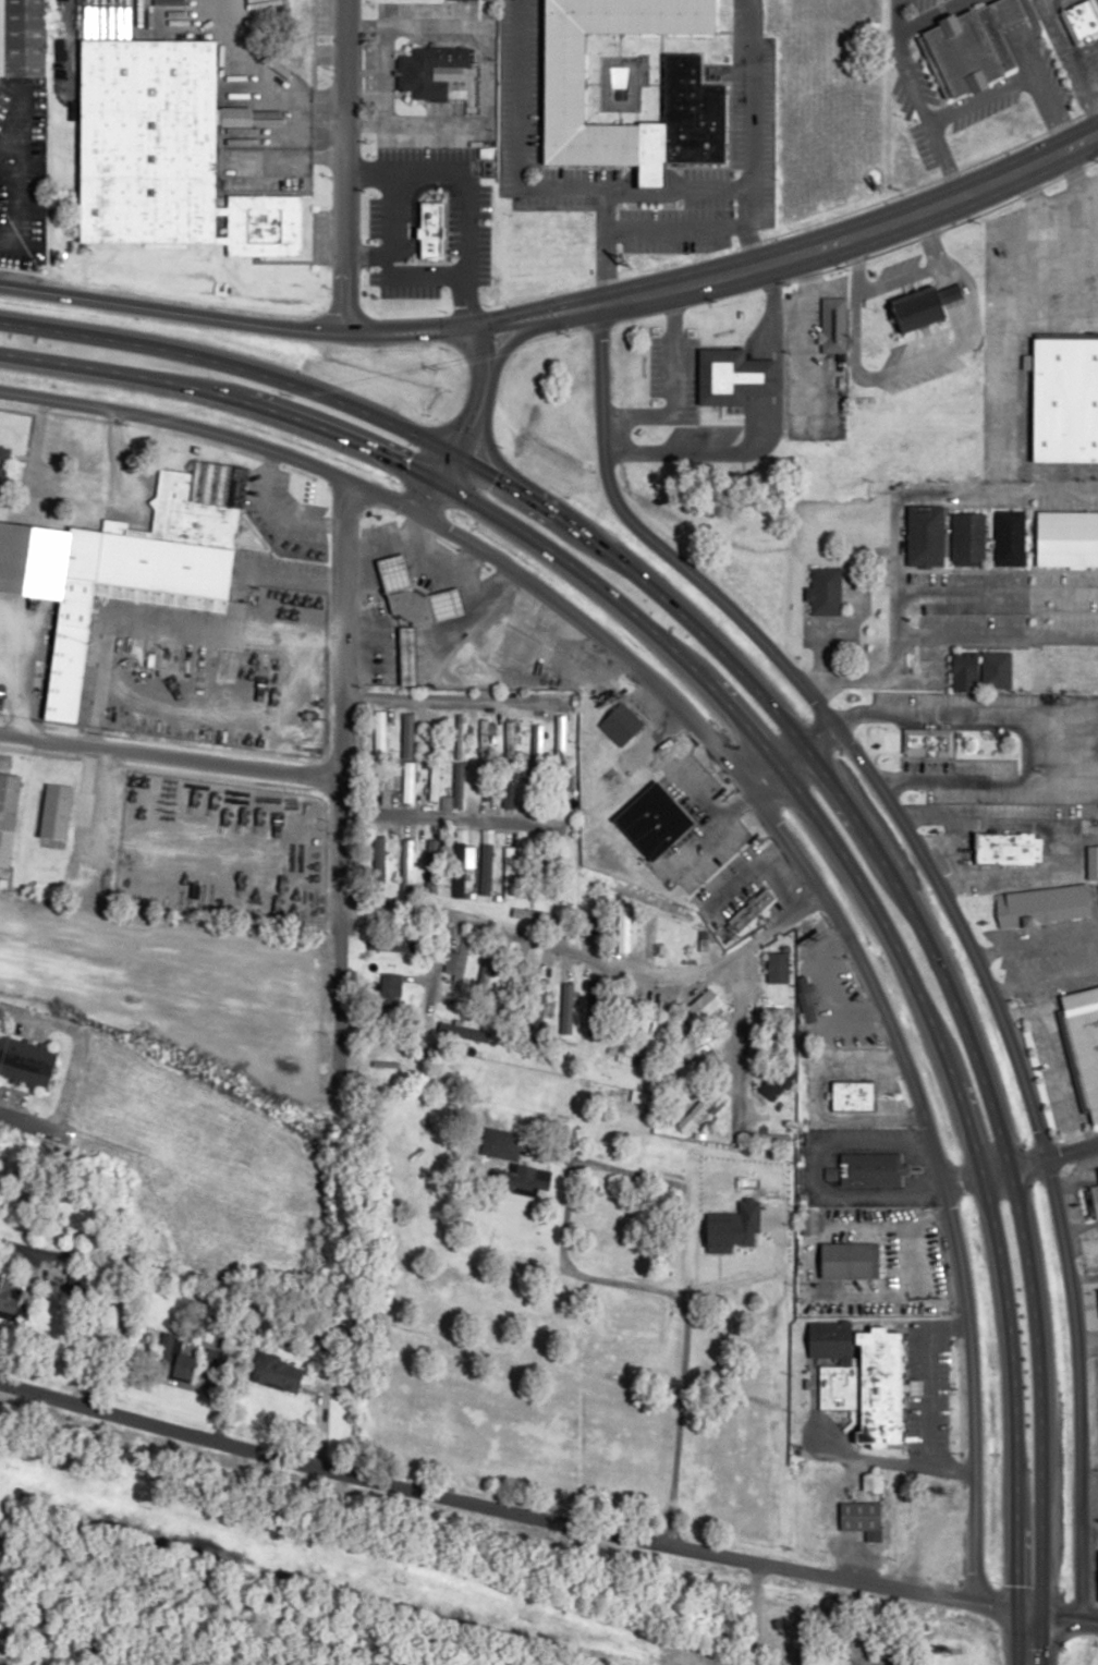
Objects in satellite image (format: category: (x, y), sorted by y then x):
road: (1097, 1)
parking lot: (923, 4)
building: (1079, 20)
building: (25, 38)
building: (972, 47)
parking lot: (1056, 49)
parking lot: (1090, 53)
road: (1071, 57)
building: (428, 70)
road: (1033, 71)
parking lot: (919, 72)
parking lot: (1057, 75)
road: (749, 93)
road: (915, 97)
parking lot: (900, 98)
road: (980, 98)
building: (695, 104)
parking lot: (981, 111)
parking lot: (920, 145)
building: (166, 154)
road: (342, 165)
road: (931, 180)
road: (539, 186)
road: (456, 192)
road: (745, 226)
building: (431, 230)
road: (1012, 232)
road: (603, 245)
road: (797, 251)
building: (926, 306)
road: (239, 320)
building: (833, 325)
road: (522, 333)
road: (454, 338)
building: (733, 377)
building: (1065, 399)
road: (477, 406)
road: (434, 429)
traffic signals: (454, 454)
road: (505, 467)
building: (5, 472)
traffic signals: (439, 482)
road: (896, 487)
road: (429, 497)
building: (183, 535)
building: (926, 535)
building: (966, 537)
building: (1010, 537)
building: (826, 591)
building: (416, 595)
building: (71, 649)
building: (134, 651)
building: (407, 656)
building: (224, 665)
building: (996, 669)
building: (964, 671)
road: (448, 692)
road: (334, 693)
building: (624, 718)
building: (377, 720)
building: (406, 734)
building: (432, 734)
building: (460, 736)
building: (560, 737)
building: (483, 738)
building: (509, 740)
building: (537, 741)
building: (928, 741)
building: (376, 744)
road: (166, 754)
road: (791, 758)
road: (815, 761)
building: (457, 778)
building: (378, 779)
building: (408, 781)
road: (792, 783)
building: (481, 785)
road: (745, 785)
building: (436, 787)
building: (507, 790)
building: (54, 810)
building: (8, 814)
building: (655, 819)
road: (436, 822)
building: (1010, 847)
building: (1093, 861)
building: (459, 862)
building: (378, 863)
building: (405, 864)
building: (430, 864)
building: (485, 871)
building: (509, 871)
building: (1042, 904)
road: (950, 907)
building: (751, 909)
building: (600, 924)
building: (649, 940)
building: (680, 941)
building: (390, 945)
building: (460, 961)
road: (587, 963)
building: (777, 967)
building: (484, 972)
road: (331, 988)
building: (390, 991)
building: (806, 998)
building: (566, 1007)
building: (594, 1008)
building: (770, 1010)
building: (461, 1012)
building: (1085, 1037)
road: (737, 1045)
building: (650, 1047)
building: (379, 1049)
building: (26, 1062)
road: (66, 1062)
building: (777, 1081)
building: (853, 1094)
road: (453, 1115)
building: (773, 1139)
building: (513, 1156)
road: (1039, 1157)
building: (698, 1166)
building: (870, 1168)
road: (961, 1176)
building: (728, 1188)
building: (1093, 1201)
building: (809, 1222)
building: (849, 1260)
building: (9, 1277)
road: (679, 1314)
building: (164, 1350)
building: (186, 1366)
building: (278, 1372)
building: (863, 1375)
parking lot: (1095, 1398)
building: (907, 1511)
road: (545, 1516)
building: (862, 1518)
building: (932, 1539)
building: (930, 1561)
traffic signals: (1017, 1608)
traffic signals: (1039, 1612)
road: (753, 1613)

